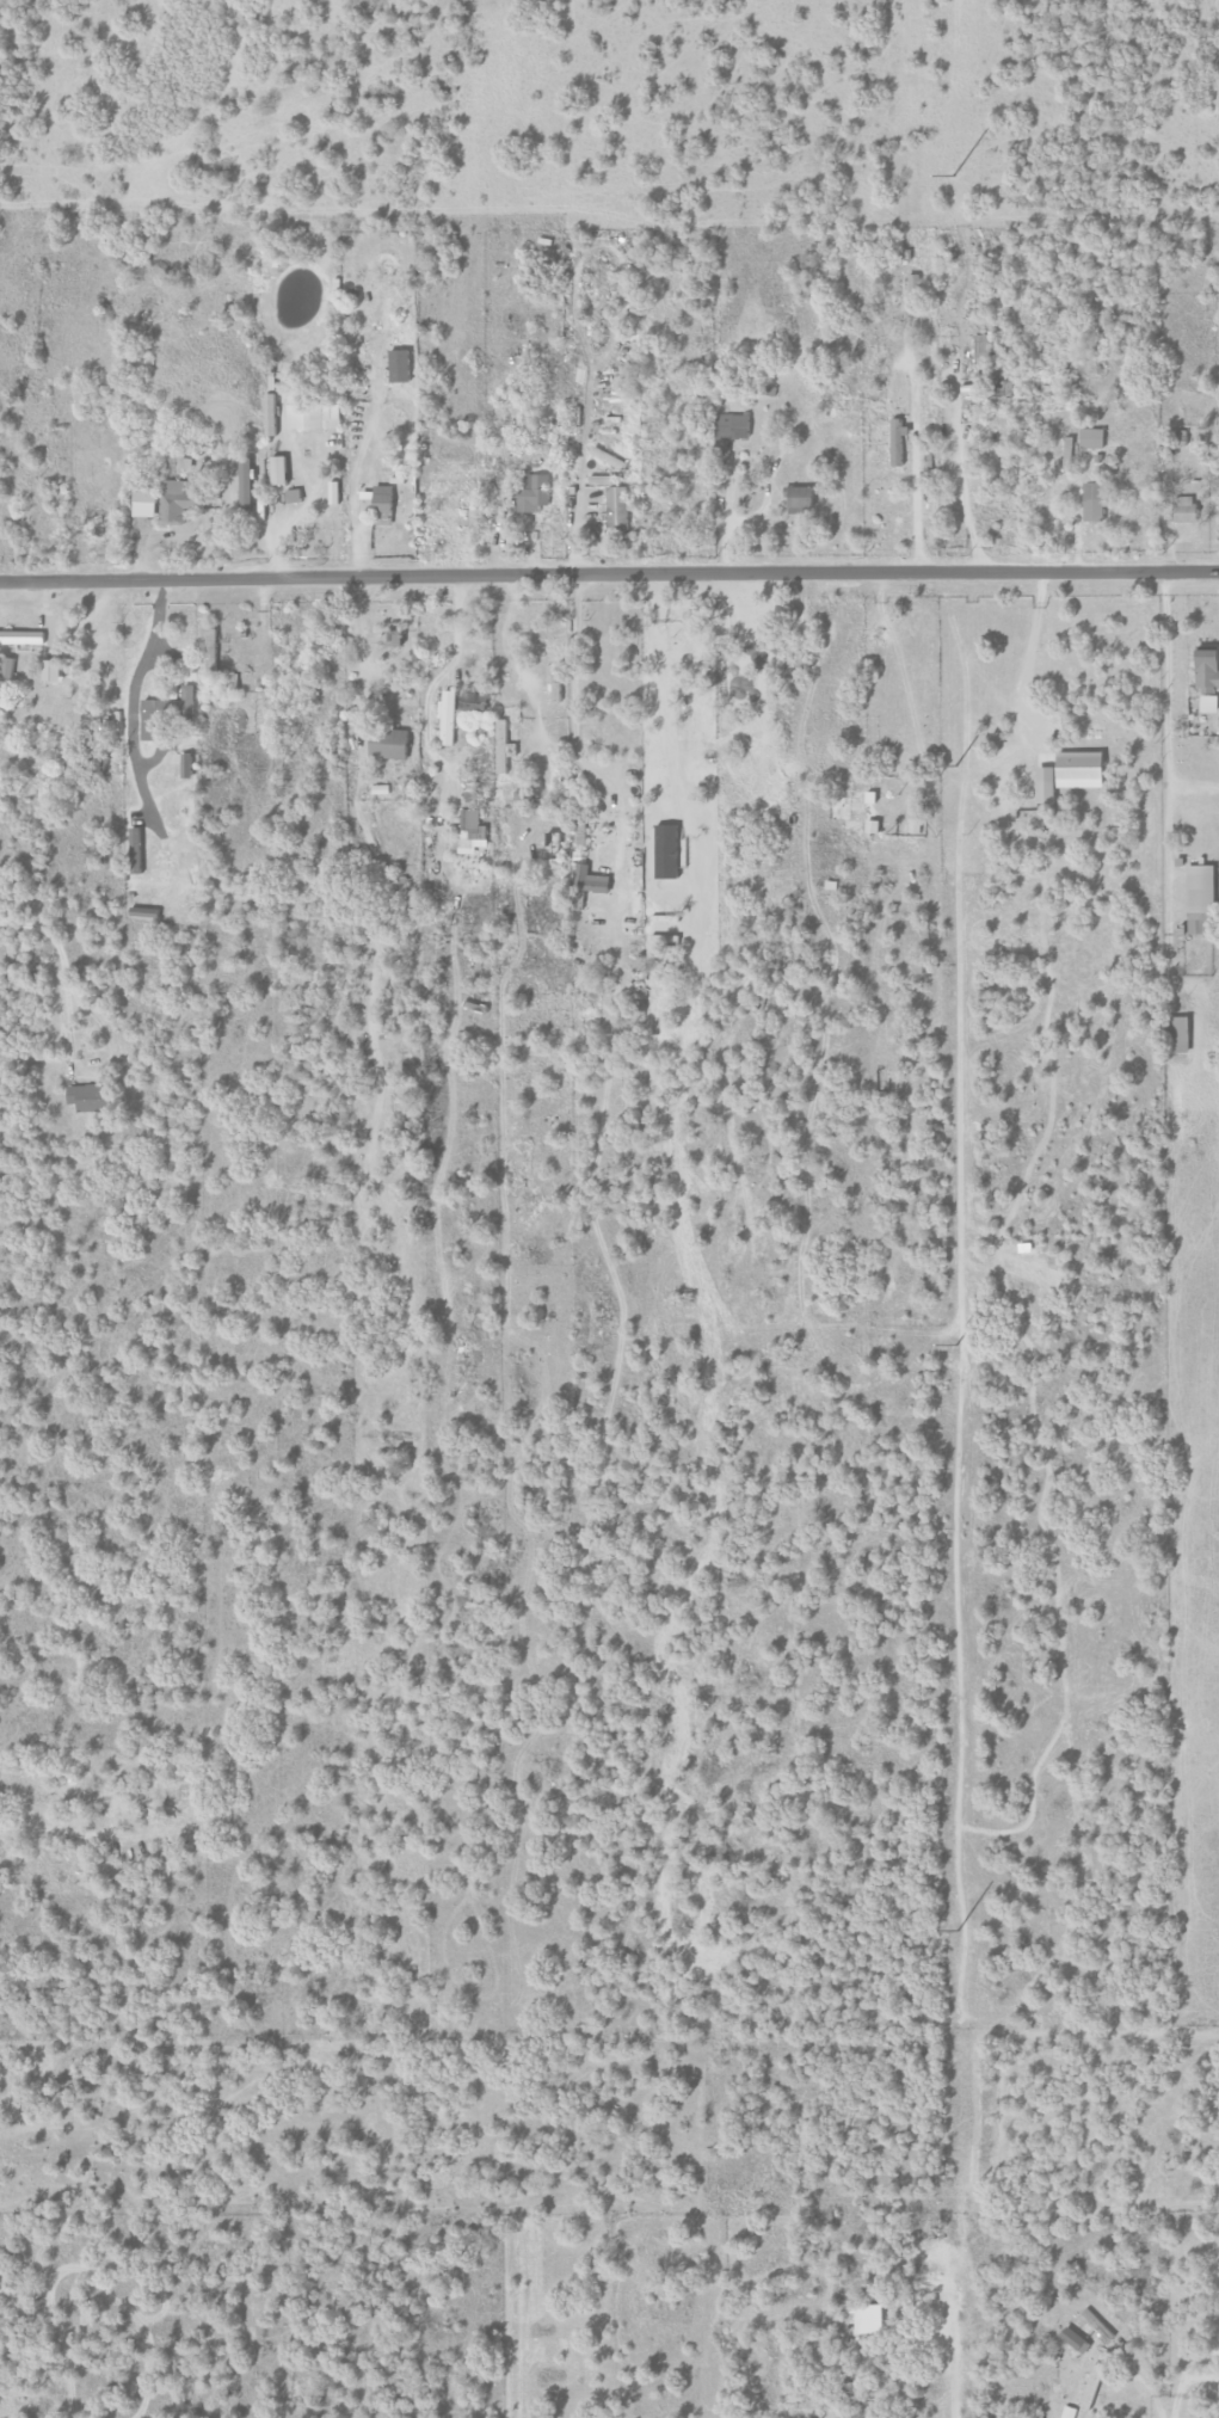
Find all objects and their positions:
power tower: (953, 176)
building: (916, 293)
building: (983, 349)
building: (314, 412)
building: (273, 414)
building: (733, 426)
road: (913, 439)
building: (900, 441)
road: (954, 467)
building: (283, 469)
building: (607, 479)
building: (536, 491)
building: (296, 496)
building: (177, 500)
building: (801, 500)
building: (1094, 500)
building: (144, 502)
building: (374, 505)
building: (618, 506)
building: (1186, 509)
road: (279, 525)
road: (609, 573)
road: (1218, 584)
road: (729, 619)
building: (21, 638)
building: (399, 638)
building: (389, 639)
building: (214, 652)
building: (1209, 667)
building: (54, 670)
building: (6, 682)
road: (362, 687)
building: (191, 696)
road: (1006, 696)
building: (479, 706)
building: (449, 716)
building: (156, 719)
road: (133, 733)
building: (392, 743)
building: (504, 746)
road: (1168, 746)
power tower: (954, 765)
building: (1072, 774)
building: (382, 789)
building: (474, 793)
building: (472, 824)
building: (915, 825)
building: (875, 826)
building: (137, 841)
building: (591, 880)
building: (1202, 897)
building: (146, 912)
road: (449, 923)
road: (615, 928)
road: (830, 937)
road: (62, 968)
building: (1182, 1034)
building: (92, 1097)
power tower: (954, 1345)
power tower: (956, 1930)
building: (1094, 2317)
building: (1076, 2338)
road: (1182, 2389)

